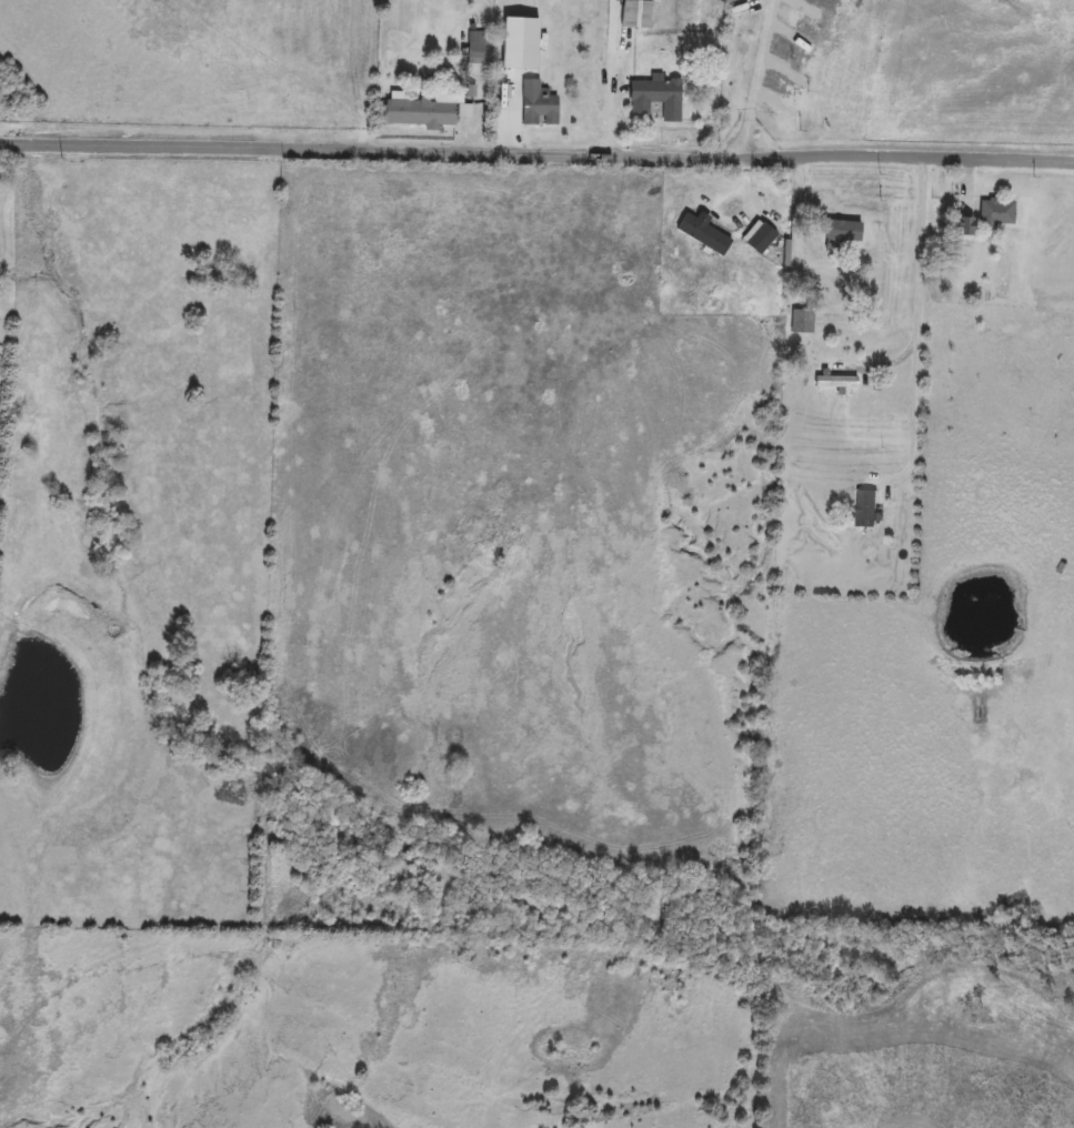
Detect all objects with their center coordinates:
building: (475, 49)
road: (754, 78)
road: (616, 95)
building: (655, 98)
building: (538, 105)
building: (421, 113)
road: (536, 152)
building: (996, 214)
road: (800, 230)
building: (963, 230)
building: (833, 288)
road: (916, 315)
building: (801, 323)
building: (835, 383)
building: (865, 511)

